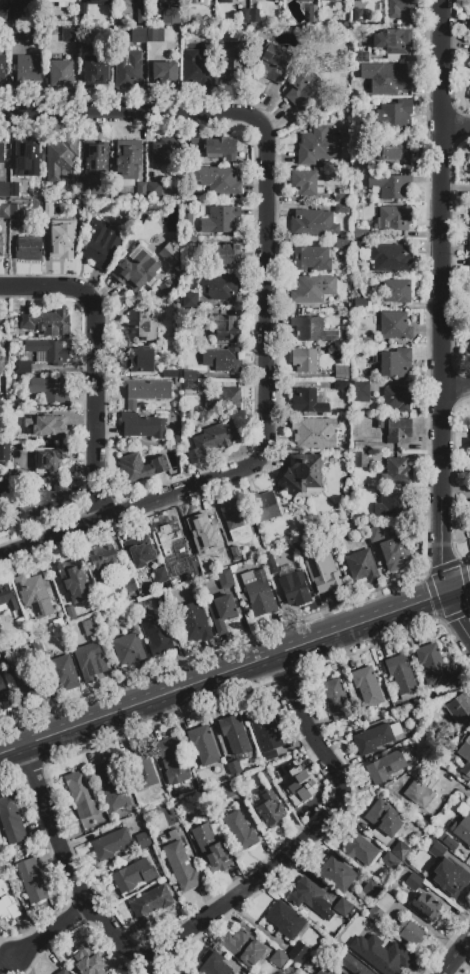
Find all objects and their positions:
building: (20, 0)
building: (35, 0)
building: (97, 0)
building: (372, 0)
building: (275, 1)
building: (305, 1)
building: (330, 1)
building: (64, 2)
building: (197, 2)
building: (225, 2)
building: (398, 7)
building: (15, 13)
building: (357, 14)
building: (4, 15)
building: (141, 16)
building: (244, 16)
building: (254, 16)
building: (171, 17)
building: (313, 17)
building: (469, 28)
building: (17, 34)
building: (70, 35)
building: (138, 35)
building: (155, 35)
building: (393, 41)
building: (469, 50)
building: (230, 56)
building: (361, 56)
building: (274, 63)
building: (469, 67)
building: (27, 68)
building: (2, 69)
building: (97, 70)
building: (196, 70)
building: (128, 71)
building: (165, 73)
building: (60, 74)
building: (387, 79)
building: (304, 92)
building: (469, 96)
street lamp: (268, 113)
building: (392, 115)
road: (457, 123)
building: (317, 146)
building: (213, 148)
building: (28, 151)
building: (165, 151)
building: (395, 152)
building: (2, 153)
building: (95, 156)
building: (128, 158)
building: (61, 160)
building: (362, 166)
building: (469, 172)
building: (217, 181)
building: (306, 183)
building: (389, 185)
building: (83, 188)
building: (4, 190)
building: (14, 190)
building: (141, 190)
building: (154, 190)
building: (341, 197)
building: (340, 208)
building: (4, 211)
building: (17, 212)
building: (393, 218)
building: (187, 220)
building: (220, 220)
building: (313, 223)
building: (359, 234)
building: (469, 238)
building: (190, 241)
building: (56, 244)
building: (341, 244)
building: (359, 244)
building: (1, 245)
building: (101, 245)
building: (29, 248)
building: (169, 254)
building: (227, 256)
building: (311, 258)
building: (391, 258)
building: (137, 268)
building: (469, 271)
street lamp: (84, 277)
building: (167, 288)
building: (222, 288)
building: (307, 291)
building: (396, 292)
road: (266, 299)
road: (274, 299)
building: (191, 303)
building: (361, 304)
building: (469, 305)
building: (191, 316)
road: (442, 322)
building: (47, 323)
building: (395, 326)
building: (141, 327)
building: (227, 329)
building: (312, 330)
building: (366, 341)
building: (47, 352)
building: (139, 360)
building: (223, 360)
building: (303, 360)
building: (394, 362)
road: (90, 366)
building: (1, 367)
building: (24, 367)
building: (341, 373)
building: (170, 374)
building: (190, 375)
building: (189, 386)
building: (340, 386)
building: (50, 390)
road: (456, 390)
building: (146, 392)
building: (361, 392)
road: (253, 396)
building: (396, 399)
building: (224, 400)
building: (309, 401)
building: (0, 402)
road: (77, 415)
building: (45, 426)
building: (143, 426)
building: (378, 429)
building: (398, 431)
building: (314, 433)
building: (213, 440)
building: (469, 440)
building: (174, 442)
building: (363, 446)
building: (4, 452)
building: (50, 459)
building: (361, 459)
building: (469, 461)
building: (141, 467)
building: (397, 472)
building: (301, 474)
building: (4, 487)
building: (46, 499)
building: (392, 505)
building: (264, 506)
building: (467, 511)
street lamp: (84, 516)
building: (235, 520)
road: (429, 520)
building: (204, 525)
building: (374, 535)
building: (168, 538)
building: (140, 551)
building: (302, 551)
building: (394, 554)
building: (102, 560)
building: (203, 560)
building: (190, 562)
building: (270, 564)
building: (362, 566)
street lamp: (420, 572)
building: (159, 574)
building: (326, 576)
building: (224, 579)
building: (73, 580)
building: (129, 586)
building: (295, 589)
traffic signals: (449, 592)
building: (33, 595)
building: (257, 595)
building: (7, 599)
building: (160, 602)
building: (221, 612)
building: (194, 622)
building: (0, 627)
building: (91, 627)
building: (156, 634)
building: (38, 649)
building: (129, 650)
building: (89, 661)
building: (431, 664)
building: (334, 668)
building: (7, 669)
road: (234, 669)
building: (62, 673)
building: (0, 674)
building: (401, 674)
building: (367, 686)
building: (30, 688)
building: (4, 696)
building: (336, 699)
building: (459, 708)
street lamp: (17, 722)
building: (266, 732)
building: (234, 734)
building: (375, 738)
building: (441, 738)
building: (203, 745)
building: (464, 755)
building: (171, 759)
building: (388, 765)
building: (141, 767)
building: (234, 767)
building: (266, 777)
road: (453, 783)
building: (292, 784)
building: (112, 786)
building: (229, 789)
building: (81, 795)
building: (422, 795)
building: (270, 810)
building: (11, 821)
building: (384, 822)
building: (462, 829)
building: (240, 831)
building: (143, 840)
building: (447, 842)
building: (110, 845)
street lamp: (40, 847)
building: (210, 849)
building: (359, 850)
building: (401, 851)
building: (391, 862)
building: (182, 867)
building: (446, 871)
building: (134, 875)
building: (337, 875)
building: (32, 881)
building: (413, 882)
building: (368, 891)
building: (311, 899)
building: (8, 902)
building: (150, 904)
building: (342, 907)
building: (425, 907)
building: (380, 909)
road: (214, 912)
building: (285, 920)
street lamp: (35, 928)
road: (48, 932)
building: (410, 932)
building: (243, 947)
building: (298, 952)
building: (383, 956)
road: (456, 956)
building: (279, 959)
building: (87, 961)
building: (212, 964)
building: (354, 966)
building: (325, 971)
building: (62, 972)

